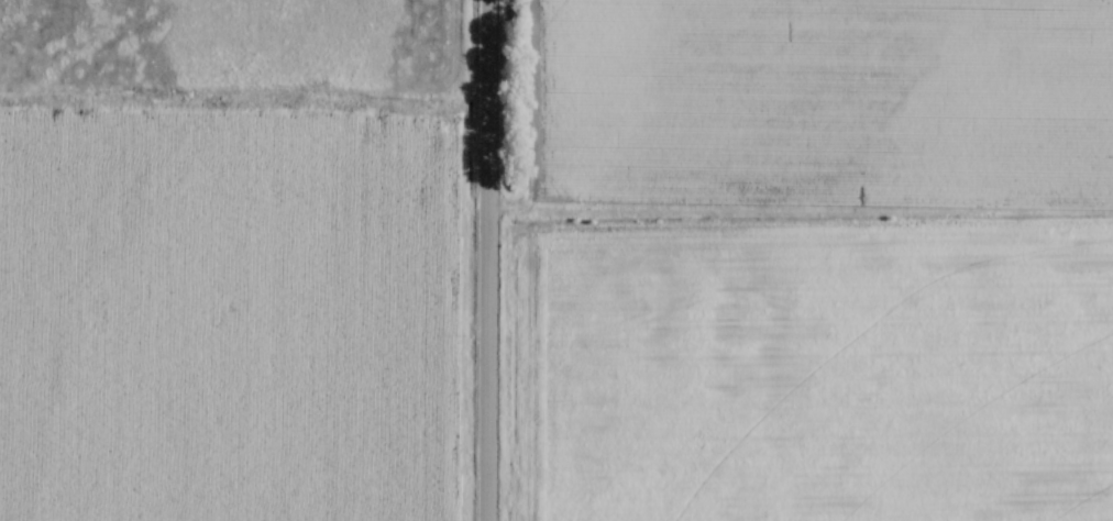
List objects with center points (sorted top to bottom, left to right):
road: (486, 260)

